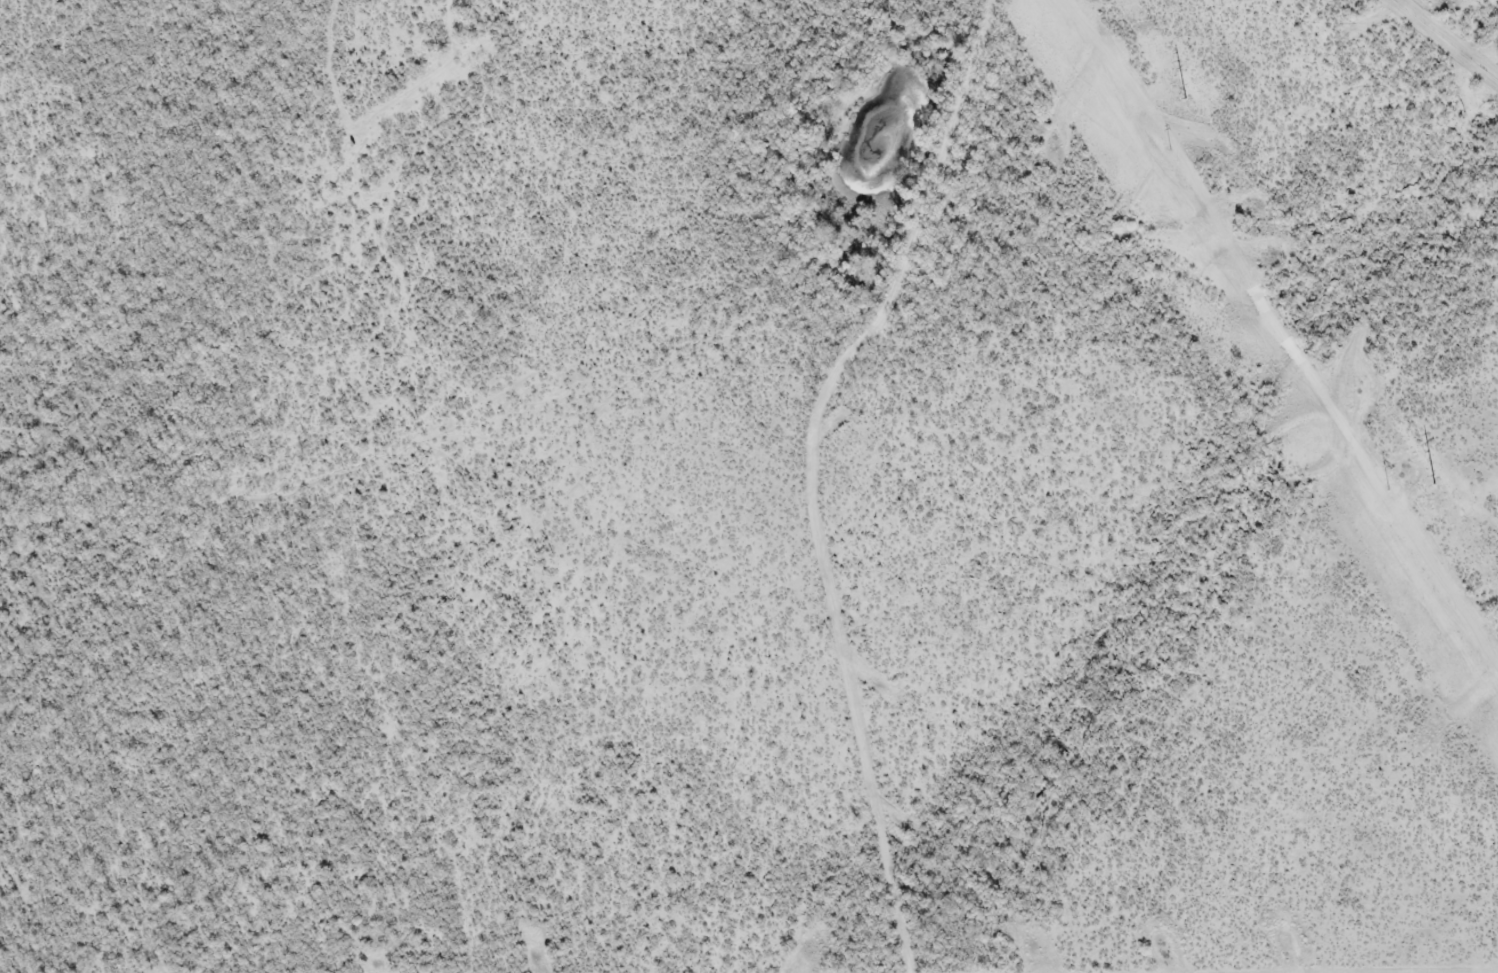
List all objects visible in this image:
power tower: (1185, 99)
power tower: (1169, 148)
power tower: (1434, 483)
power tower: (1388, 489)

